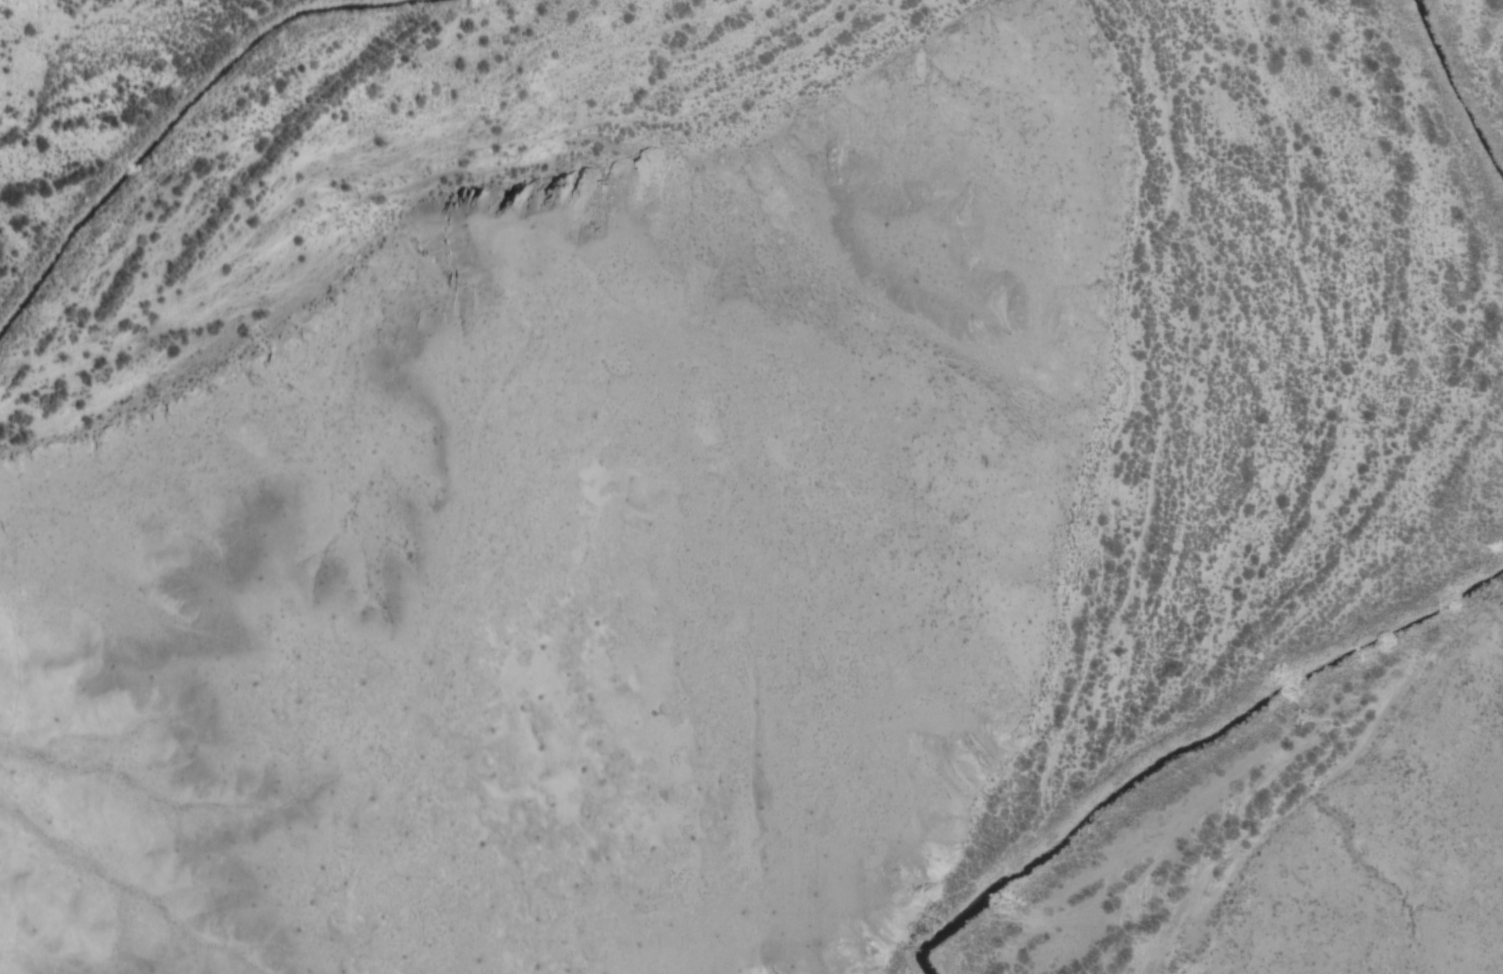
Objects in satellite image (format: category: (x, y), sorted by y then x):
river: (1460, 93)
river: (197, 96)
river: (1206, 764)

